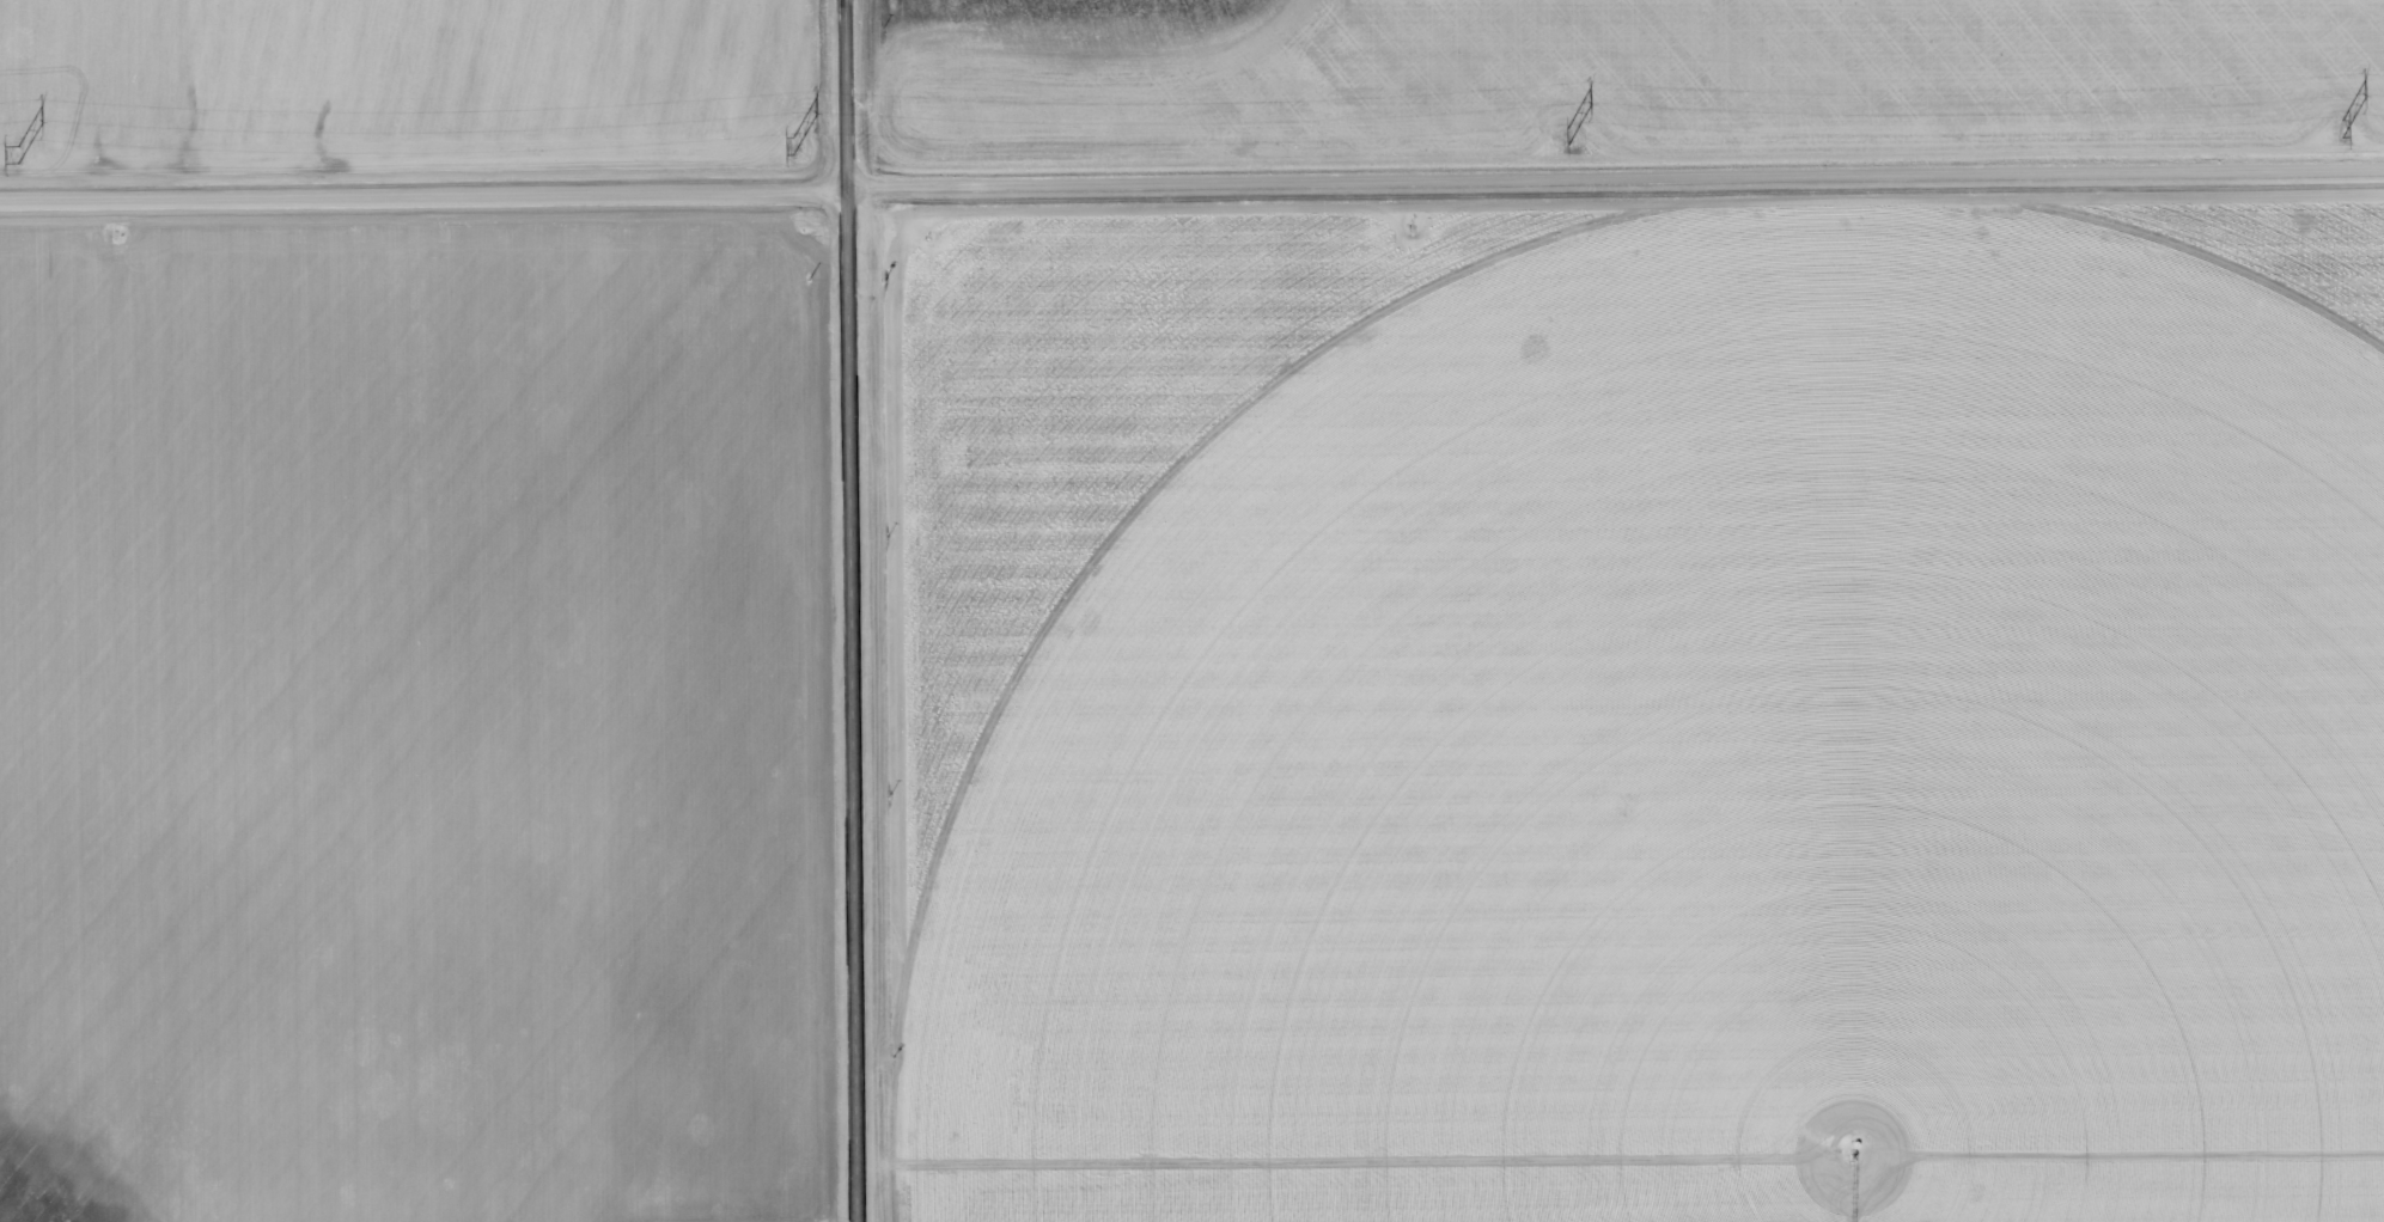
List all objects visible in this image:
power tower: (2341, 129)
power tower: (1568, 136)
power tower: (791, 145)
power tower: (17, 155)
road: (1191, 187)
road: (850, 611)

